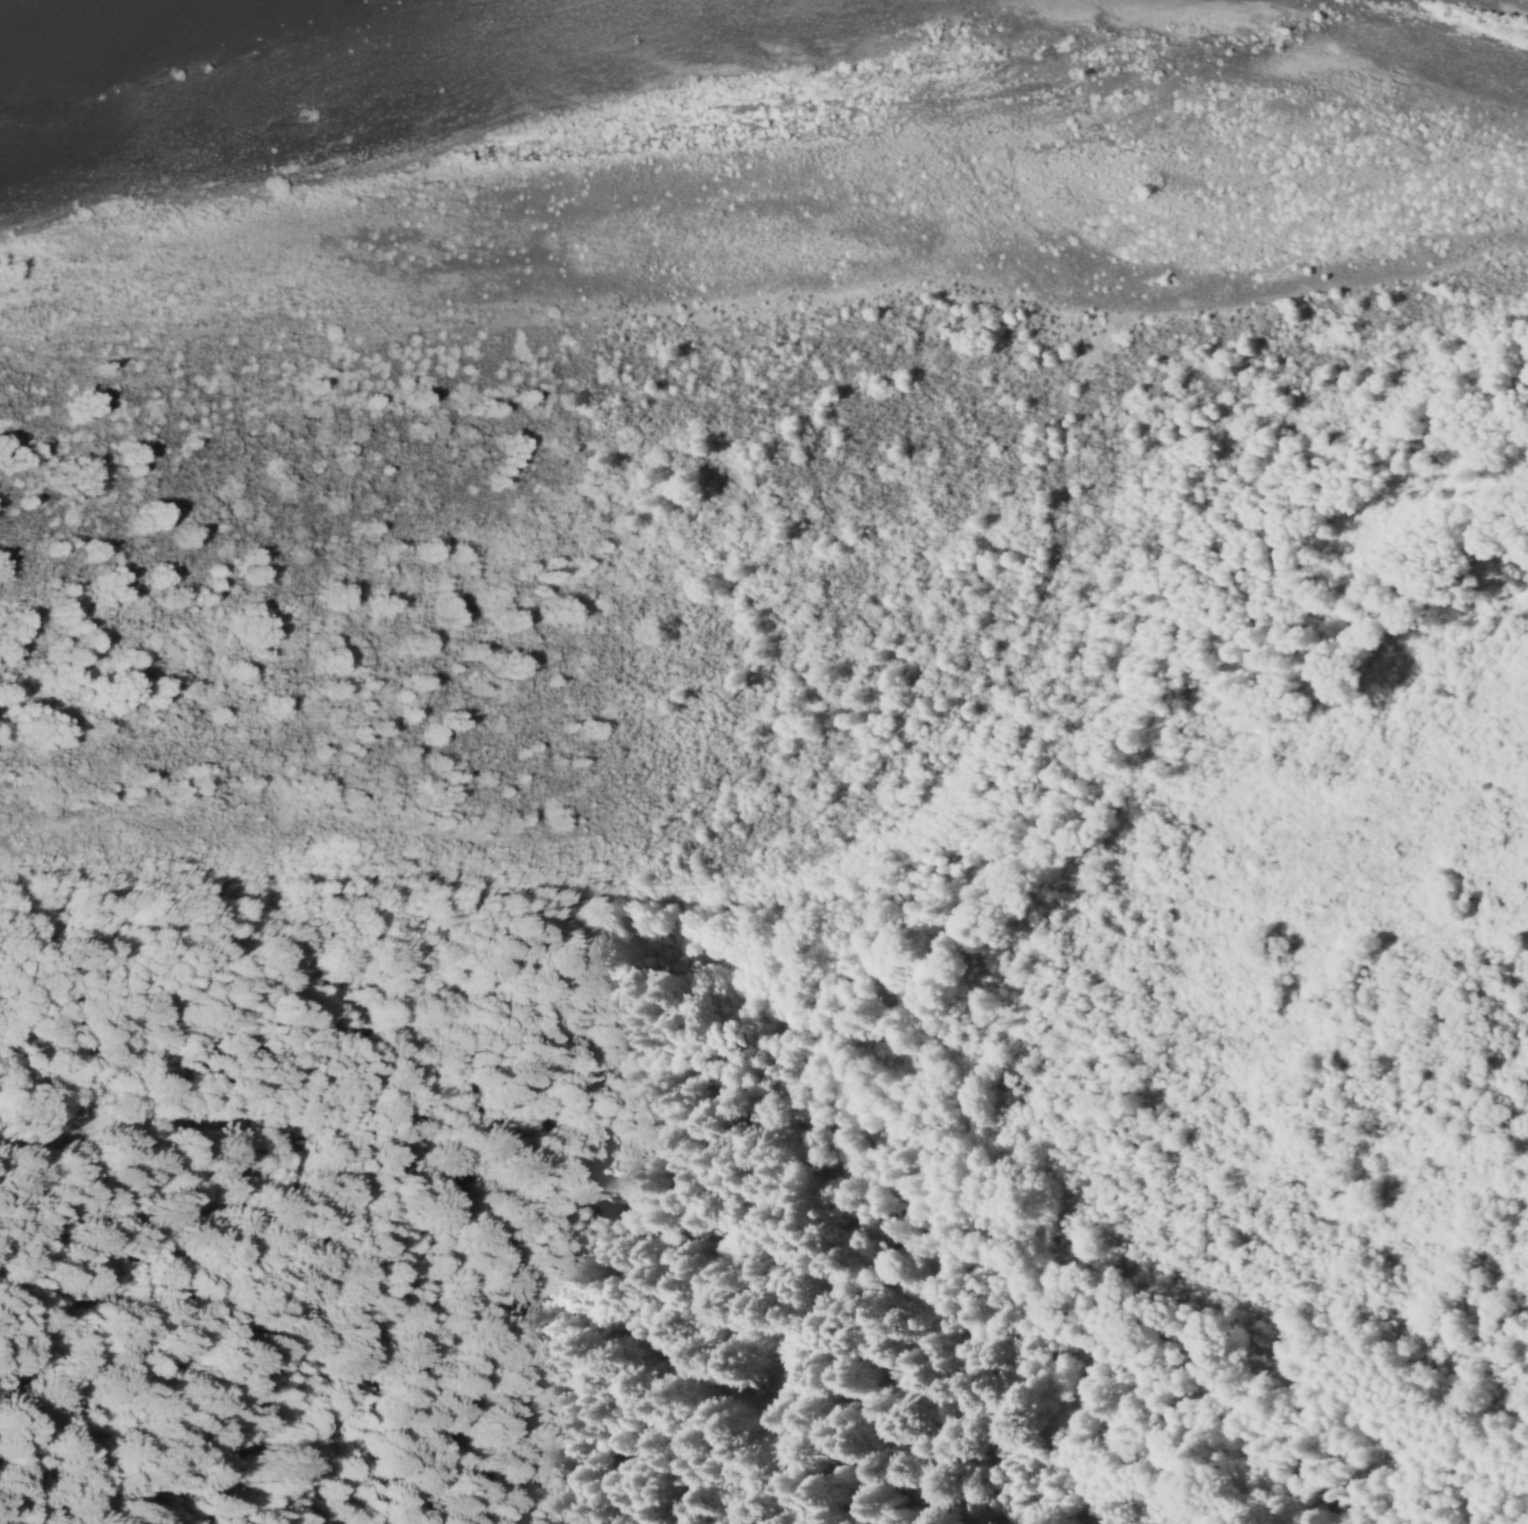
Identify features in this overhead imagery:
road: (511, 1313)

